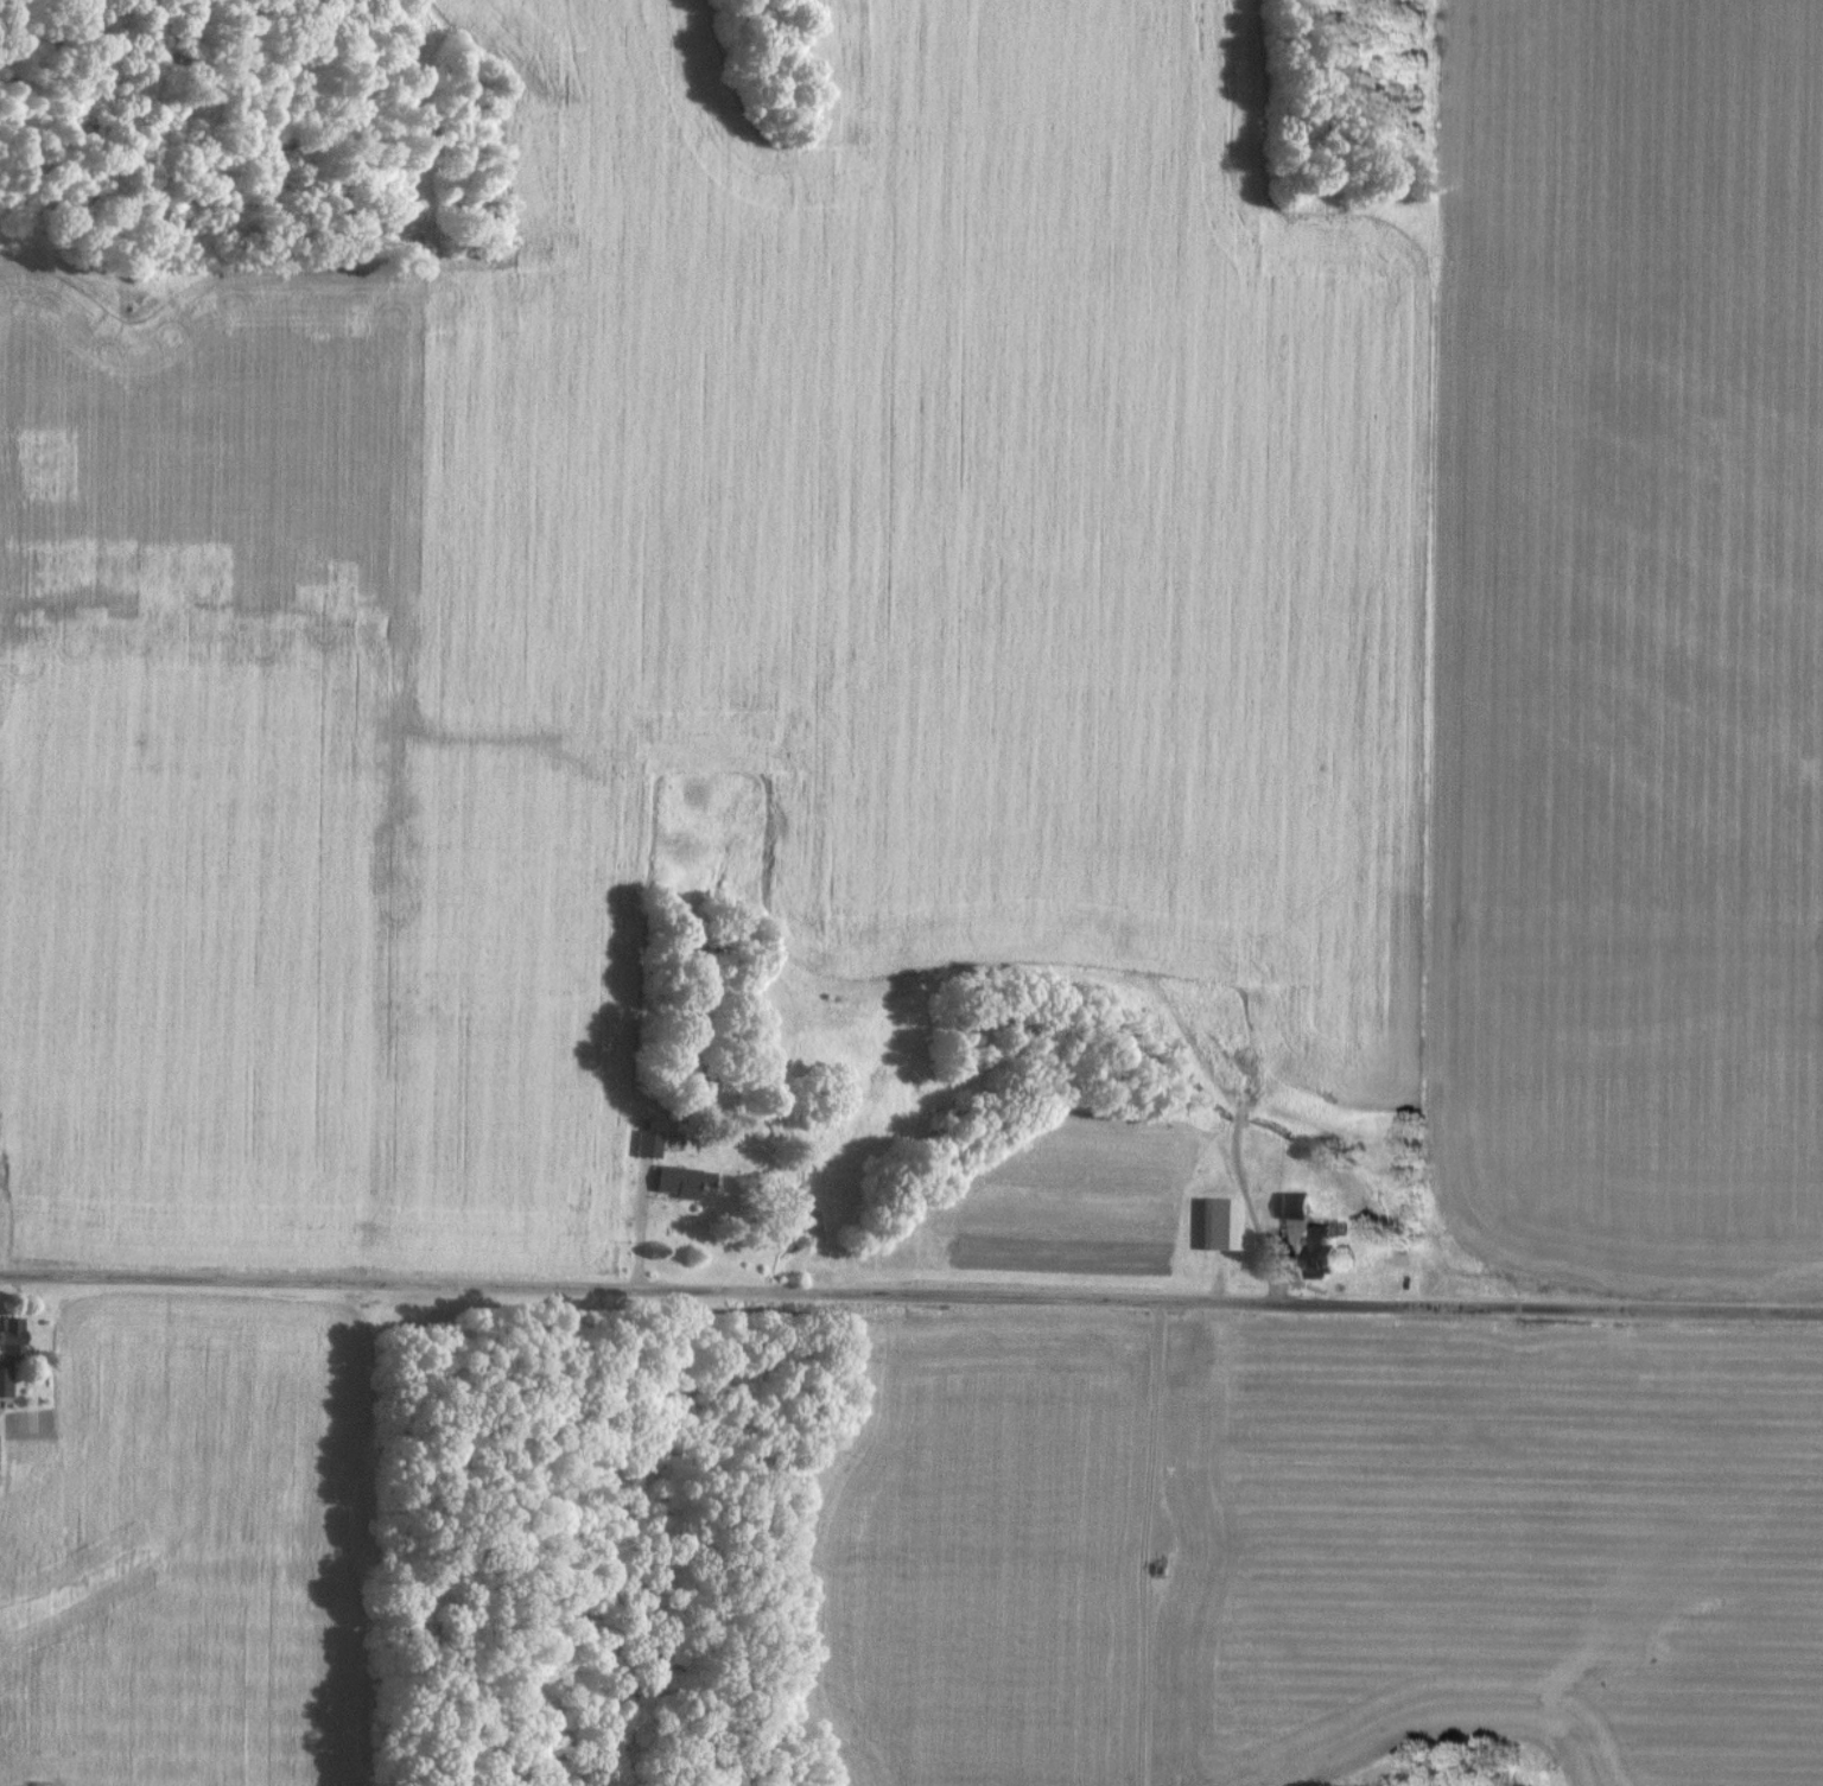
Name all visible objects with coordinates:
road: (43, 263)
building: (649, 1140)
building: (682, 1177)
building: (1297, 1205)
road: (910, 1298)
road: (1146, 1544)

